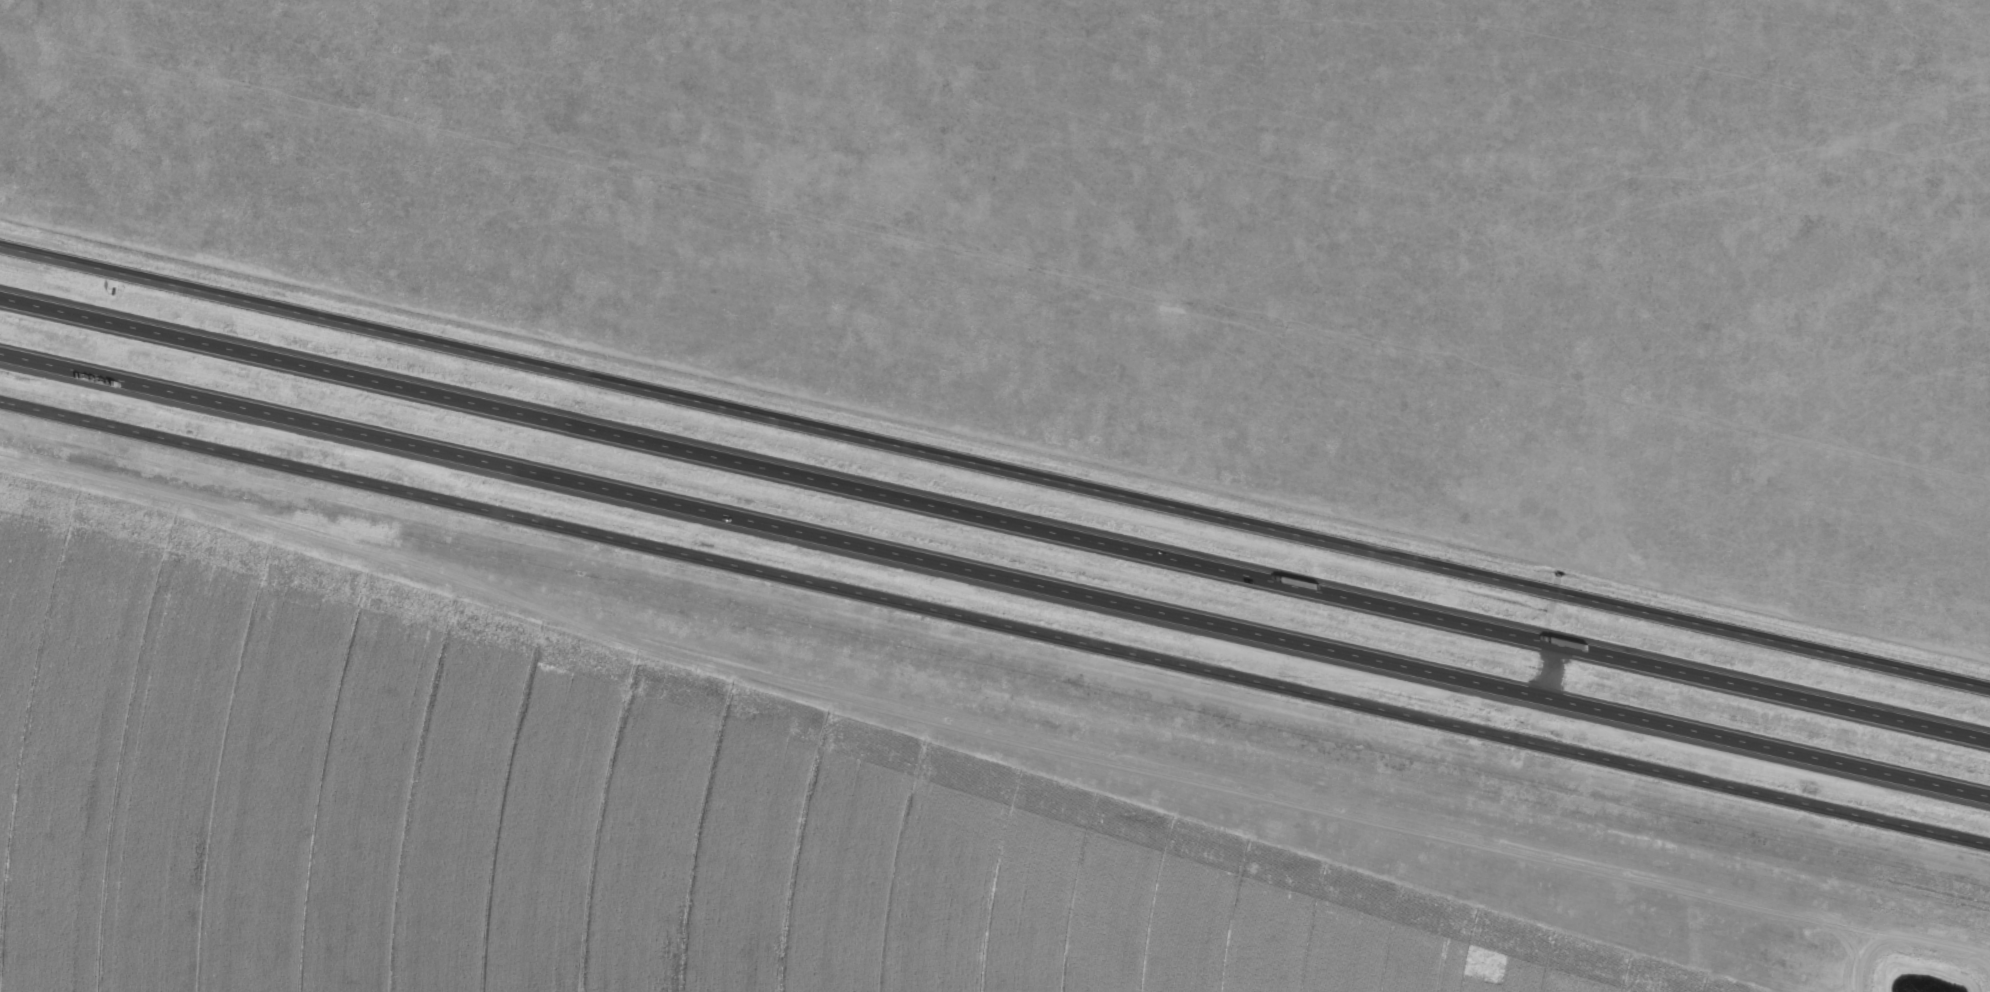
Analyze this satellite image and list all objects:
road: (994, 465)
road: (994, 518)
road: (994, 577)
road: (994, 621)

